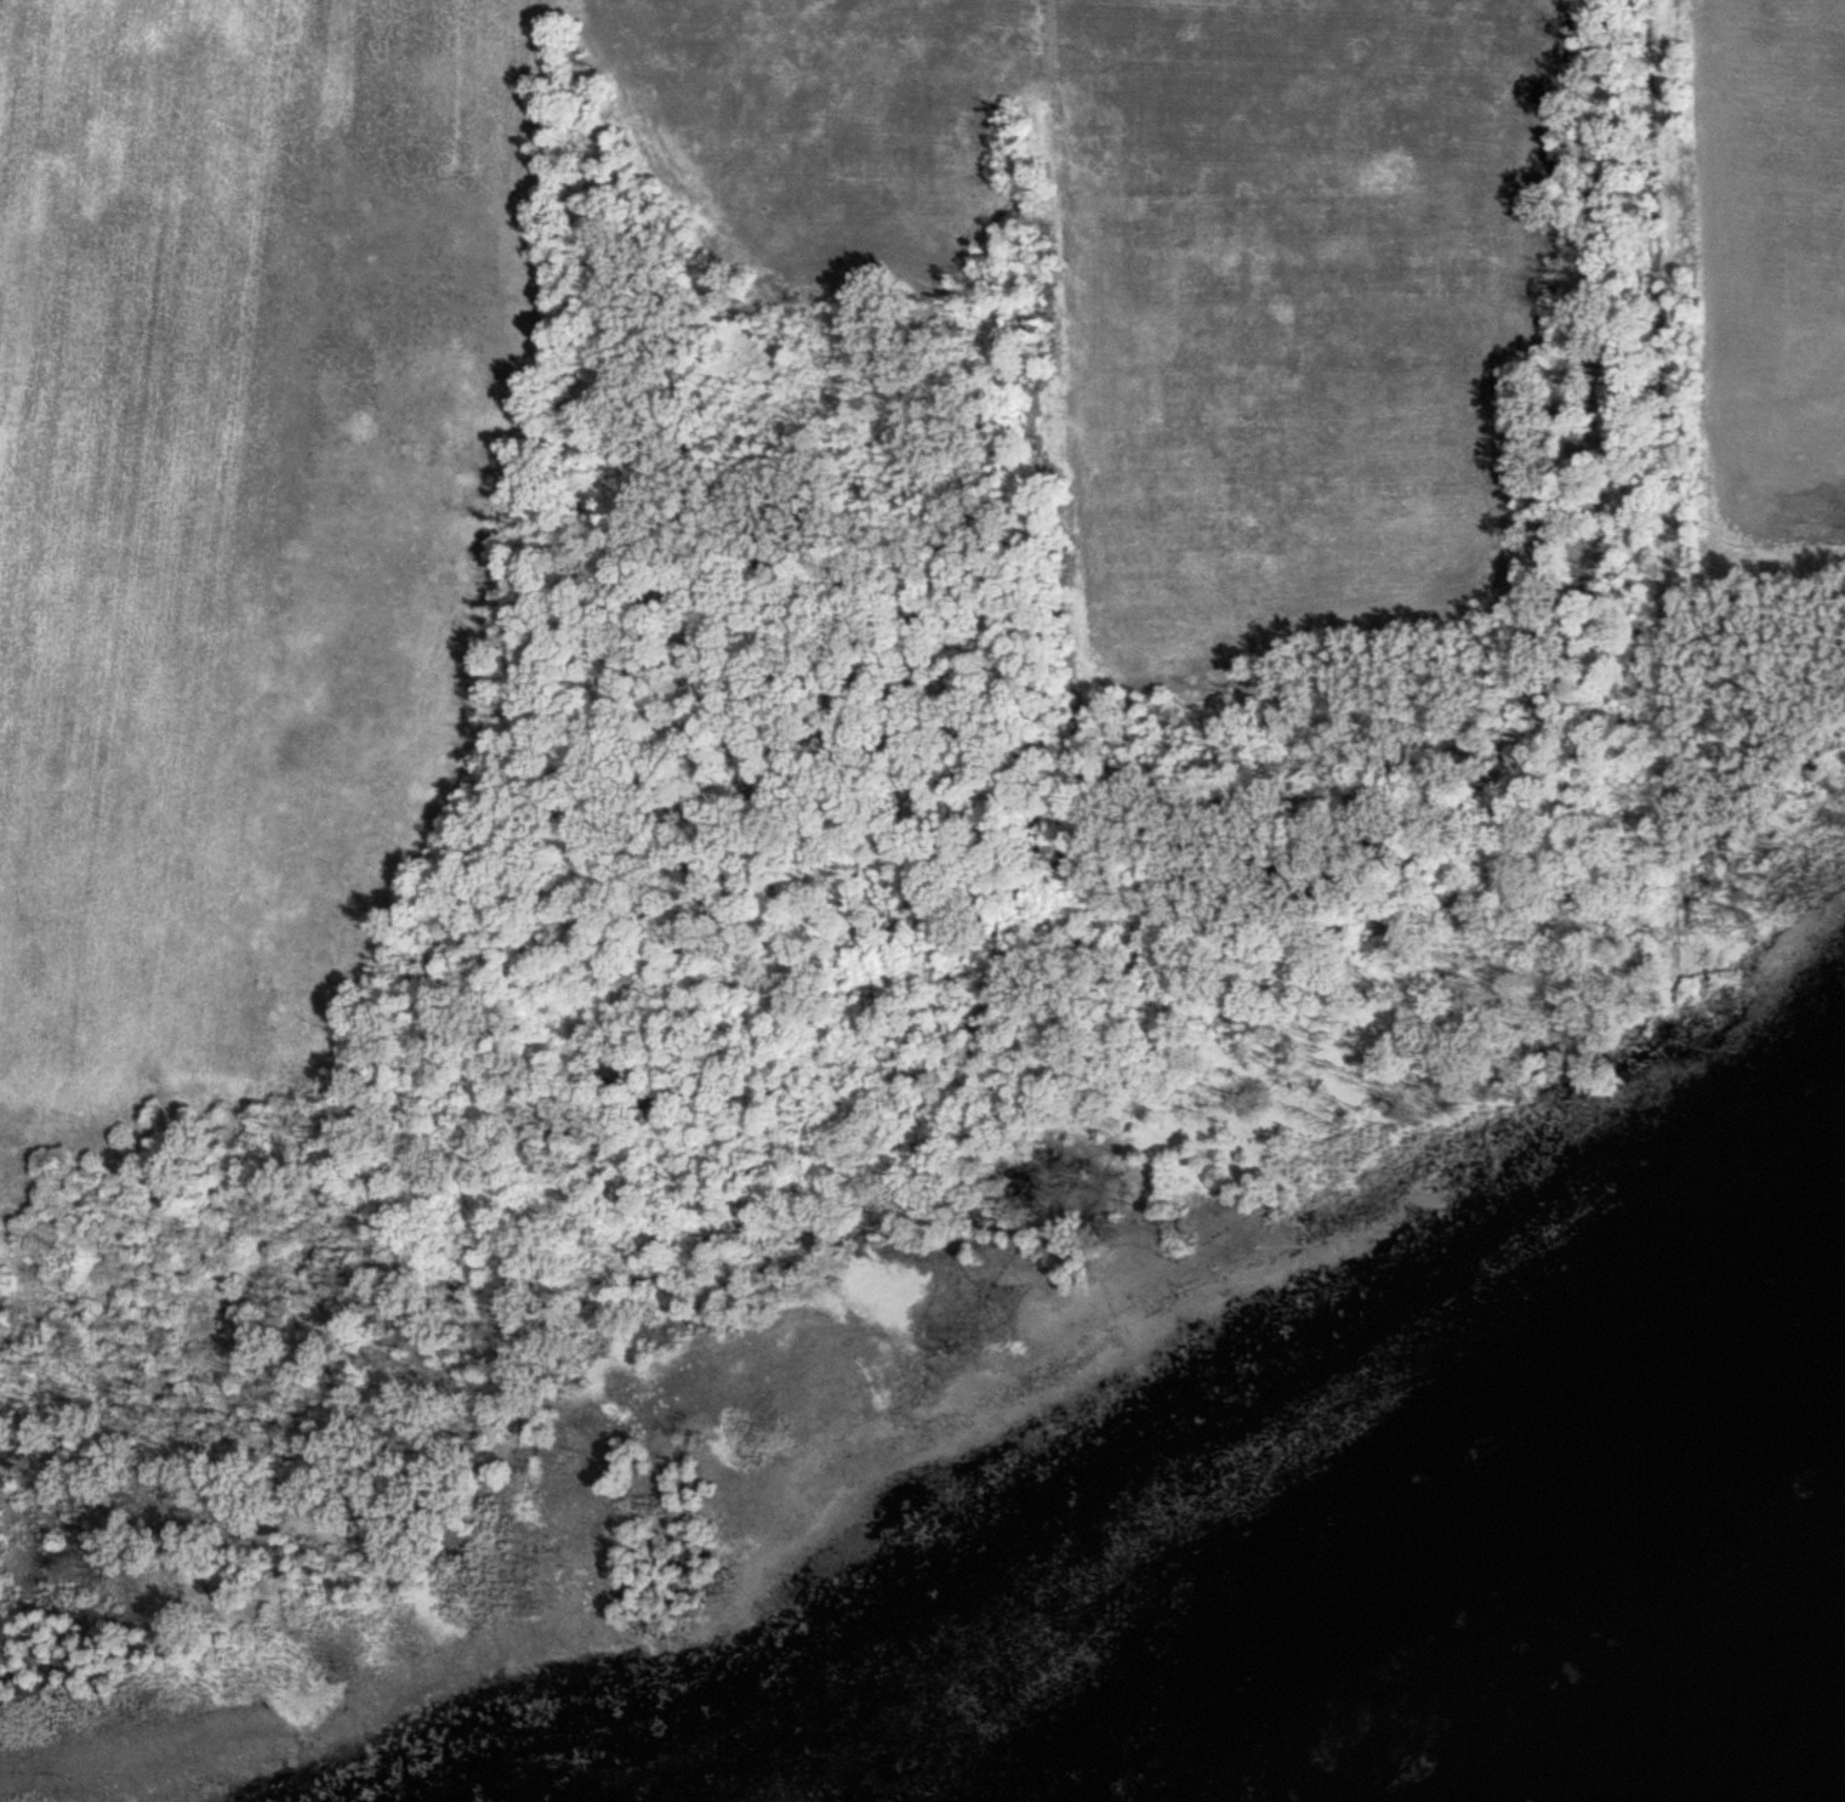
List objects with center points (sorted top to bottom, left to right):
road: (1664, 305)
river: (1820, 1785)

